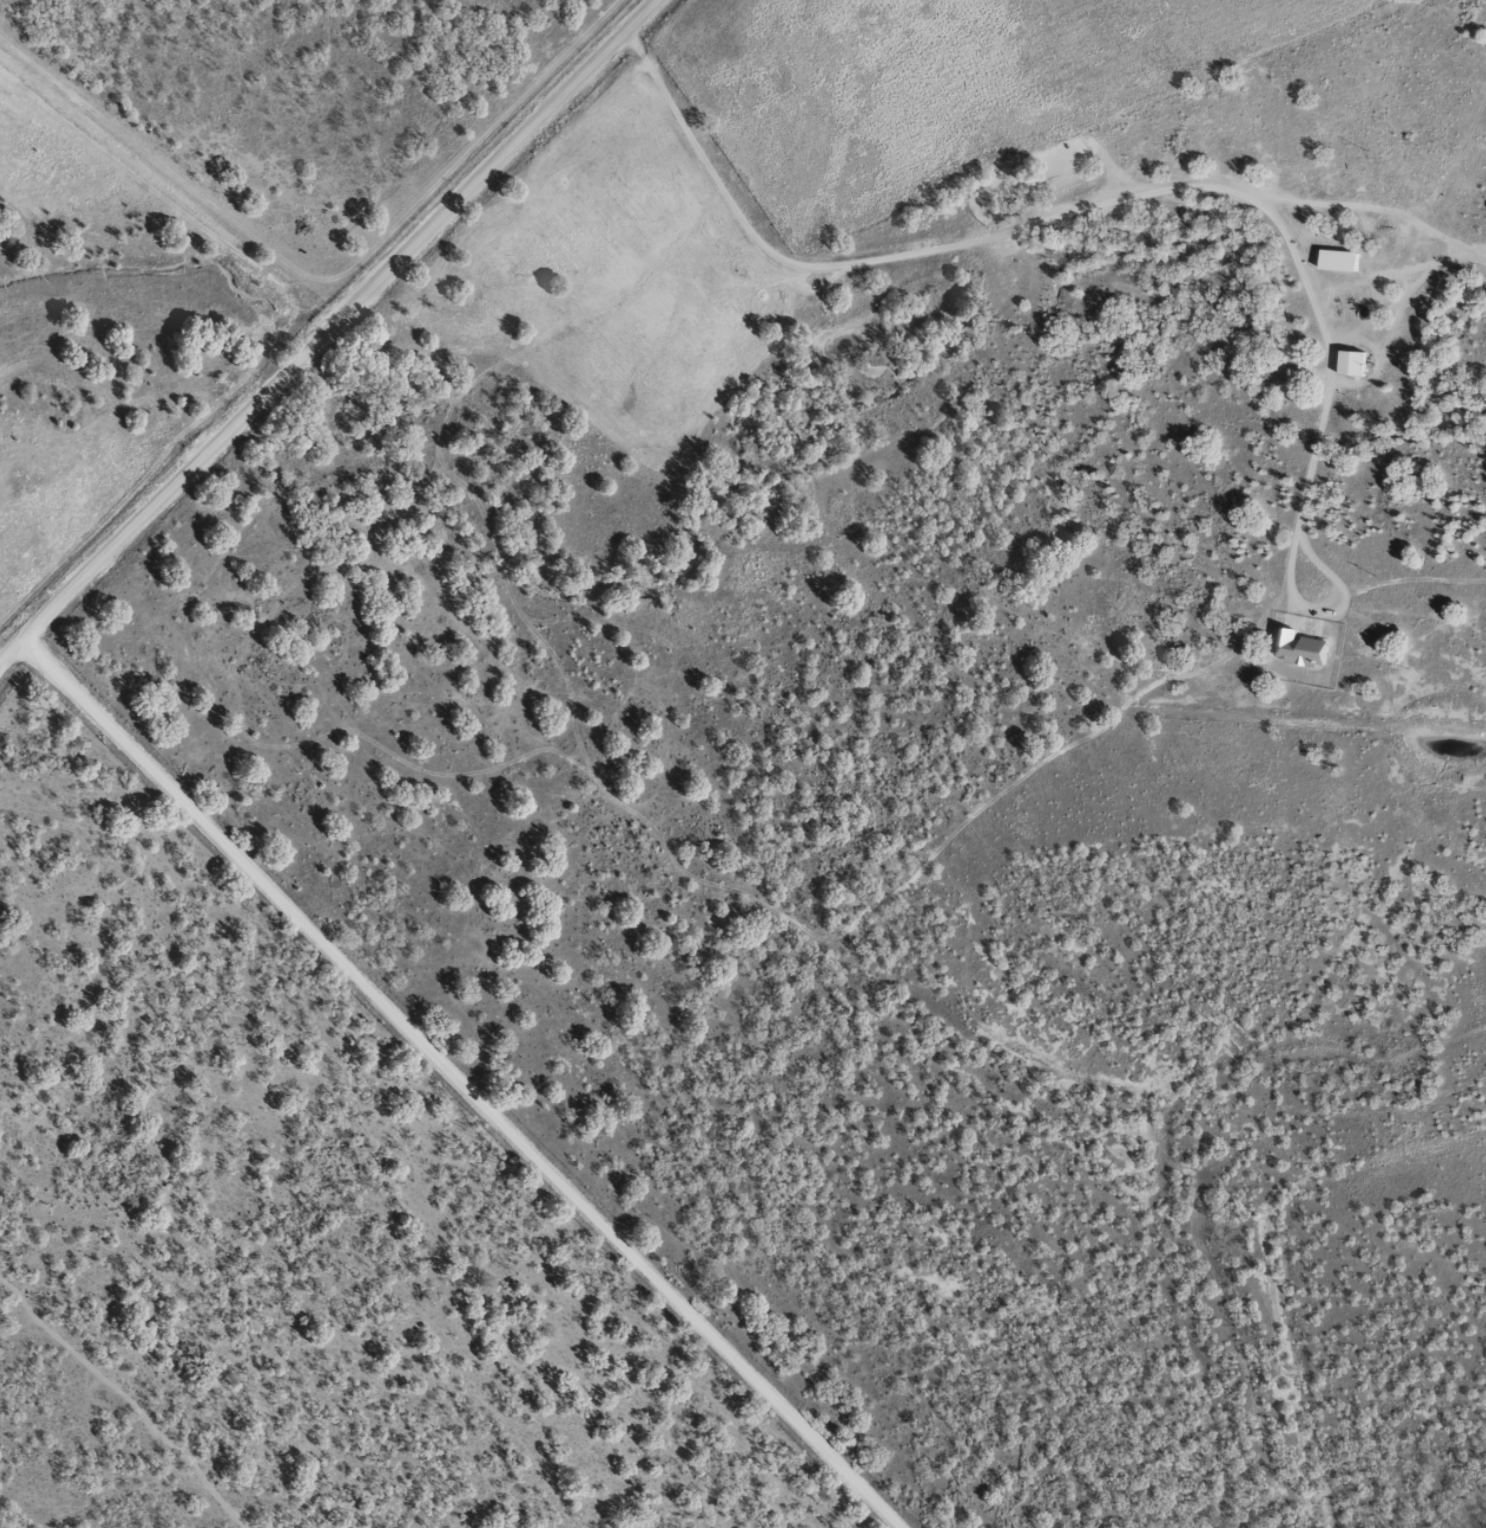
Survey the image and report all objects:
road: (628, 37)
road: (1014, 227)
building: (1339, 259)
building: (1352, 362)
road: (300, 368)
building: (1299, 645)
road: (441, 1099)

